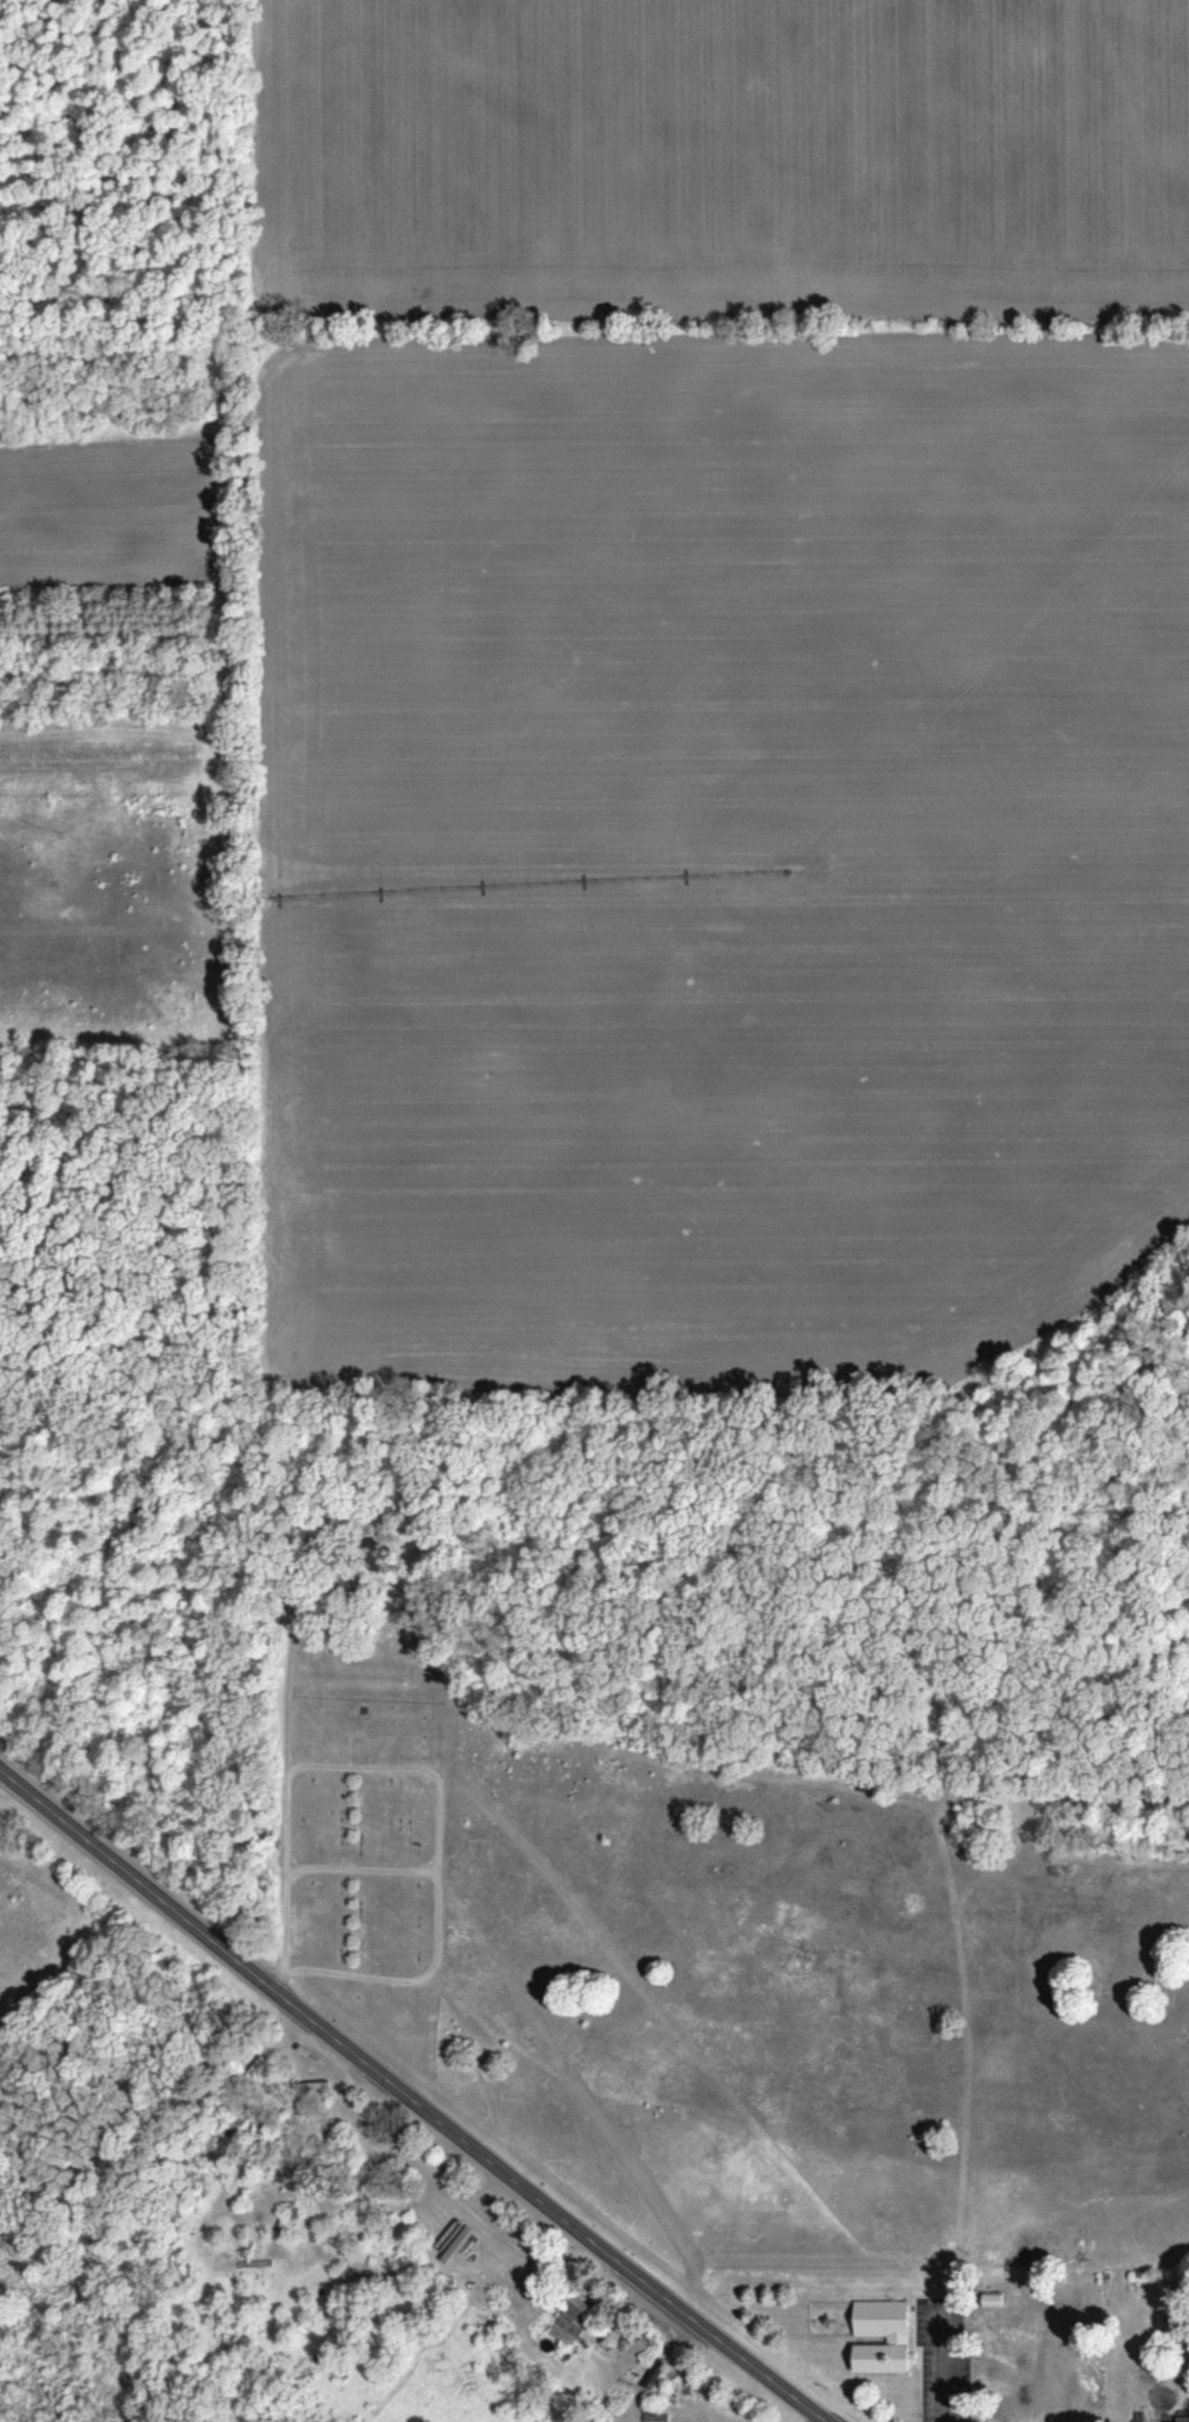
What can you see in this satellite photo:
road: (284, 1803)
park: (365, 1863)
road: (358, 1865)
road: (435, 1870)
building: (315, 2083)
road: (403, 2093)
building: (236, 2129)
building: (573, 2313)
building: (883, 2334)

